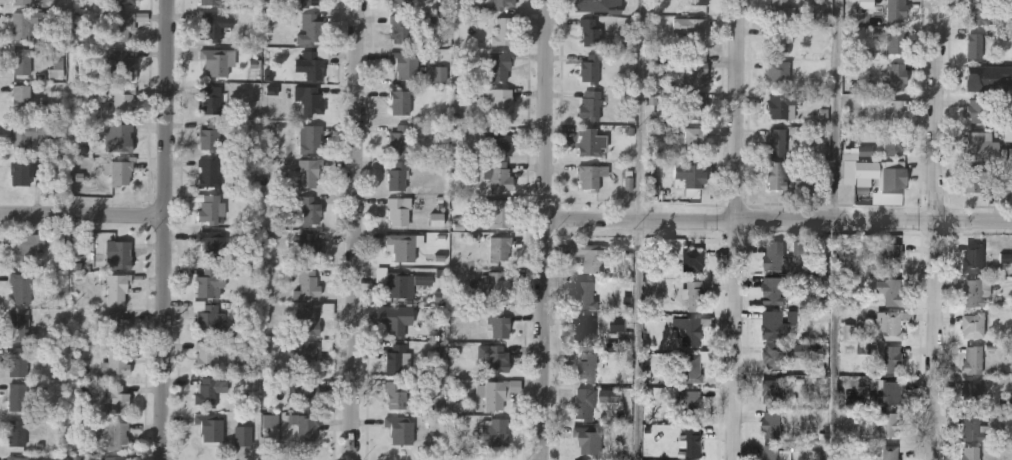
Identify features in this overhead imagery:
building: (22, 1)
building: (212, 1)
building: (123, 2)
building: (310, 2)
building: (399, 3)
building: (501, 3)
building: (695, 3)
building: (598, 5)
building: (779, 10)
building: (895, 10)
building: (980, 11)
building: (25, 22)
building: (122, 24)
building: (213, 24)
building: (312, 26)
building: (690, 27)
building: (400, 28)
building: (501, 30)
building: (589, 31)
building: (778, 40)
building: (895, 41)
building: (974, 45)
building: (21, 61)
building: (214, 62)
building: (312, 63)
building: (121, 64)
building: (404, 64)
building: (499, 65)
building: (698, 69)
building: (777, 72)
building: (897, 76)
building: (986, 77)
building: (590, 85)
building: (21, 97)
building: (311, 98)
building: (210, 99)
building: (120, 102)
building: (399, 102)
building: (500, 103)
building: (781, 104)
building: (695, 105)
building: (978, 110)
road: (643, 111)
road: (839, 111)
building: (896, 111)
building: (26, 133)
building: (209, 135)
building: (118, 137)
building: (311, 138)
building: (694, 139)
building: (398, 140)
building: (501, 141)
building: (588, 141)
building: (776, 141)
building: (895, 143)
building: (981, 145)
building: (26, 171)
building: (120, 171)
building: (208, 173)
building: (309, 173)
building: (397, 175)
building: (590, 175)
building: (689, 175)
building: (777, 175)
building: (499, 176)
building: (972, 179)
building: (1003, 186)
building: (209, 208)
building: (311, 211)
building: (398, 211)
building: (499, 213)
road: (82, 217)
road: (777, 222)
road: (163, 229)
road: (542, 229)
road: (359, 230)
road: (737, 230)
road: (940, 230)
building: (212, 244)
building: (401, 246)
building: (25, 248)
building: (500, 249)
building: (309, 251)
building: (773, 254)
building: (892, 254)
building: (120, 255)
building: (588, 255)
building: (973, 257)
building: (693, 259)
building: (426, 279)
building: (209, 282)
building: (428, 283)
building: (399, 284)
building: (307, 285)
building: (497, 287)
building: (20, 288)
building: (117, 288)
building: (774, 290)
building: (891, 290)
building: (975, 291)
building: (585, 293)
building: (695, 294)
building: (208, 318)
building: (397, 320)
building: (307, 321)
building: (891, 322)
building: (498, 323)
building: (18, 324)
building: (774, 324)
building: (973, 324)
building: (118, 325)
building: (587, 328)
building: (687, 329)
road: (640, 341)
road: (835, 341)
building: (782, 351)
building: (206, 355)
building: (892, 357)
building: (396, 358)
building: (496, 358)
building: (972, 358)
building: (17, 360)
building: (115, 362)
building: (585, 364)
building: (689, 365)
building: (306, 376)
building: (772, 389)
building: (888, 390)
building: (970, 390)
building: (206, 392)
building: (395, 394)
building: (495, 394)
building: (17, 396)
building: (118, 399)
building: (689, 401)
building: (584, 402)
building: (890, 422)
building: (772, 423)
building: (978, 426)
building: (210, 428)
building: (306, 428)
building: (400, 429)
building: (494, 432)
building: (15, 433)
building: (115, 435)
building: (242, 435)
building: (589, 438)
building: (694, 441)
building: (771, 451)
building: (892, 452)
building: (971, 453)
building: (18, 457)
building: (113, 458)

